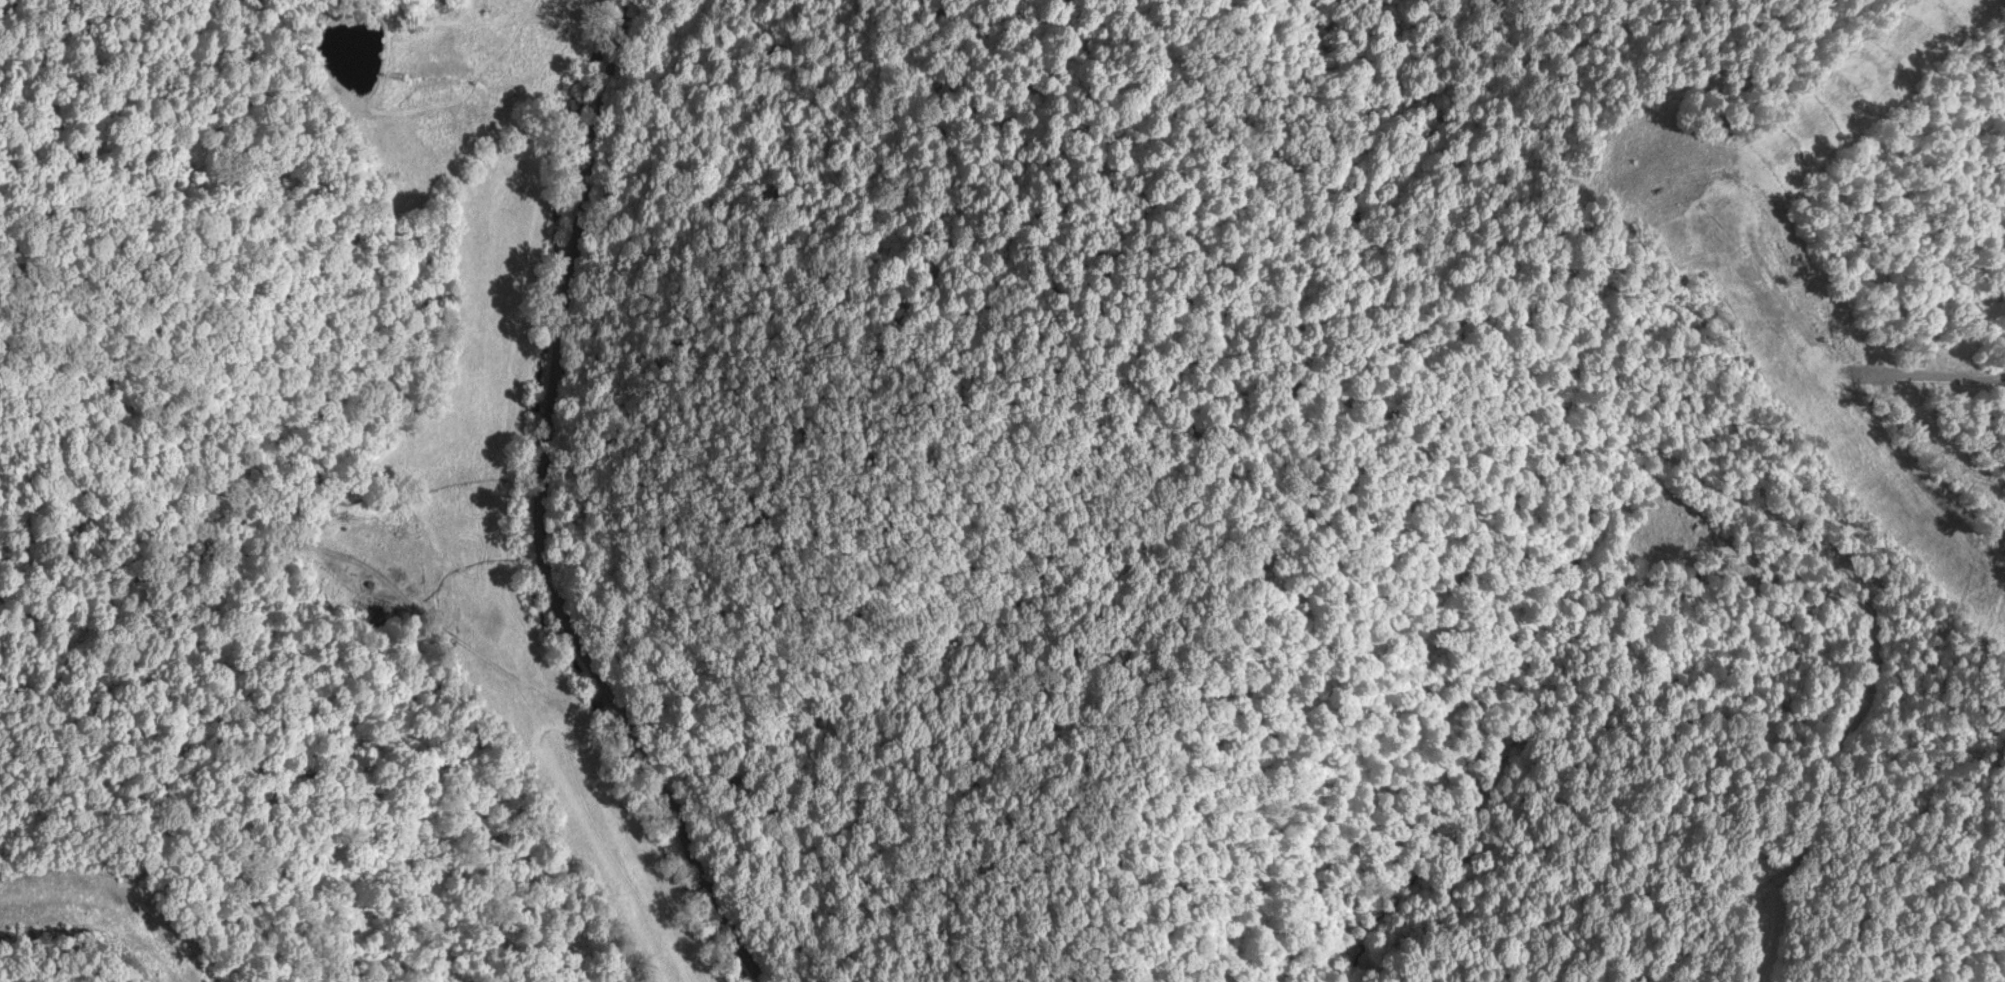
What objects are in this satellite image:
road: (542, 513)

